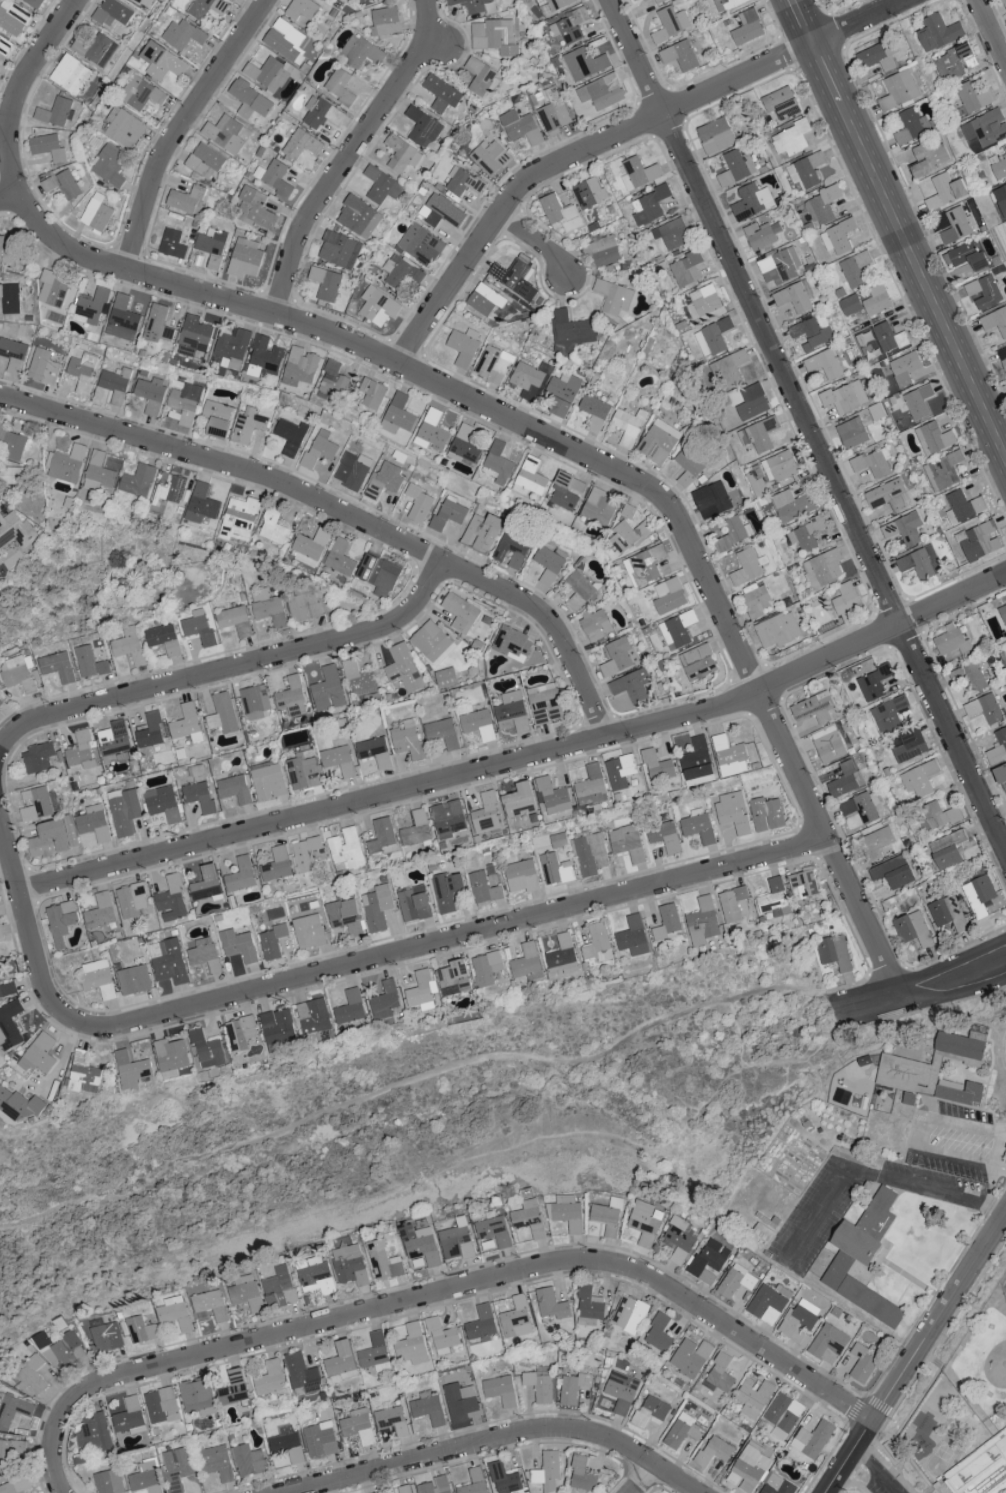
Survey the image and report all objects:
building: (361, 0)
building: (634, 0)
building: (832, 0)
building: (659, 1)
building: (143, 2)
building: (1004, 2)
building: (34, 3)
building: (727, 4)
building: (476, 5)
building: (554, 5)
building: (207, 7)
building: (301, 9)
building: (112, 12)
building: (13, 17)
building: (385, 20)
building: (670, 23)
building: (568, 27)
building: (747, 27)
building: (938, 32)
building: (182, 34)
road: (990, 34)
building: (495, 36)
building: (285, 40)
building: (77, 45)
building: (4, 46)
road: (434, 47)
building: (100, 50)
building: (360, 51)
building: (680, 55)
building: (878, 56)
building: (162, 61)
building: (953, 61)
building: (584, 62)
building: (269, 73)
building: (70, 74)
building: (481, 76)
building: (339, 85)
road: (19, 89)
building: (899, 90)
building: (601, 91)
building: (141, 93)
building: (441, 93)
building: (973, 96)
building: (250, 99)
building: (781, 103)
building: (56, 112)
building: (317, 112)
building: (913, 125)
building: (124, 127)
road: (180, 127)
building: (422, 127)
building: (520, 127)
building: (985, 127)
building: (224, 133)
building: (715, 135)
building: (794, 137)
road: (615, 138)
building: (301, 144)
building: (47, 146)
building: (402, 154)
road: (349, 155)
building: (489, 157)
building: (930, 157)
building: (205, 161)
building: (998, 163)
building: (109, 165)
building: (736, 167)
building: (806, 171)
building: (639, 173)
building: (276, 177)
building: (462, 182)
building: (62, 183)
building: (381, 185)
building: (945, 191)
building: (589, 192)
road: (9, 198)
building: (1001, 198)
building: (186, 199)
building: (751, 201)
building: (649, 204)
building: (822, 205)
building: (256, 208)
building: (441, 211)
building: (96, 212)
building: (560, 213)
building: (358, 217)
building: (958, 225)
road: (899, 229)
building: (672, 233)
building: (761, 234)
building: (837, 238)
road: (535, 242)
building: (419, 243)
building: (173, 244)
building: (212, 246)
building: (339, 249)
building: (6, 250)
building: (602, 250)
building: (969, 256)
building: (244, 258)
building: (780, 266)
building: (685, 268)
building: (855, 268)
building: (402, 273)
building: (514, 274)
building: (326, 283)
building: (53, 288)
building: (984, 291)
building: (612, 296)
building: (11, 297)
building: (794, 298)
building: (485, 299)
building: (876, 300)
building: (703, 301)
building: (850, 304)
building: (378, 305)
building: (91, 307)
building: (122, 318)
building: (995, 320)
building: (158, 321)
building: (571, 331)
building: (809, 331)
building: (194, 336)
building: (712, 337)
building: (884, 340)
building: (463, 346)
building: (232, 348)
building: (13, 354)
building: (264, 356)
building: (494, 363)
building: (1003, 363)
building: (824, 364)
building: (43, 366)
building: (299, 366)
building: (907, 368)
building: (729, 369)
building: (82, 371)
building: (333, 379)
building: (527, 380)
building: (115, 383)
building: (565, 385)
building: (150, 393)
building: (372, 393)
building: (845, 397)
building: (918, 401)
building: (183, 402)
building: (752, 402)
building: (560, 408)
building: (876, 410)
building: (594, 411)
building: (398, 414)
building: (217, 418)
building: (248, 425)
building: (628, 425)
road: (804, 427)
building: (432, 431)
building: (852, 432)
building: (759, 434)
building: (290, 436)
building: (934, 437)
building: (658, 441)
building: (11, 443)
building: (465, 445)
building: (319, 448)
road: (589, 460)
building: (112, 462)
building: (873, 462)
building: (66, 463)
building: (498, 463)
building: (689, 465)
building: (780, 465)
building: (944, 469)
building: (352, 470)
building: (12, 474)
building: (529, 477)
building: (385, 479)
building: (139, 480)
building: (172, 489)
building: (566, 492)
building: (888, 495)
building: (716, 499)
building: (203, 500)
building: (418, 503)
building: (792, 505)
building: (963, 506)
building: (599, 509)
building: (448, 513)
road: (341, 515)
building: (239, 519)
building: (272, 526)
building: (16, 529)
building: (904, 529)
building: (481, 531)
building: (734, 533)
building: (806, 534)
building: (630, 535)
building: (979, 540)
building: (310, 547)
building: (510, 551)
building: (339, 557)
building: (0, 558)
building: (548, 559)
building: (920, 562)
building: (644, 565)
building: (748, 566)
building: (823, 568)
building: (378, 574)
building: (579, 591)
building: (669, 595)
building: (756, 599)
building: (845, 599)
building: (304, 604)
building: (268, 607)
building: (460, 612)
building: (1003, 612)
building: (234, 620)
building: (595, 624)
building: (199, 628)
building: (676, 629)
building: (778, 629)
building: (164, 639)
building: (952, 641)
building: (432, 642)
building: (512, 643)
building: (129, 645)
building: (618, 656)
building: (90, 662)
road: (253, 662)
building: (698, 662)
building: (58, 666)
building: (403, 668)
building: (20, 672)
building: (445, 677)
building: (974, 677)
building: (358, 678)
building: (874, 682)
building: (631, 685)
building: (327, 689)
building: (254, 699)
building: (291, 699)
building: (1, 701)
building: (545, 703)
building: (813, 707)
building: (984, 709)
building: (512, 712)
building: (222, 713)
building: (891, 714)
building: (186, 723)
building: (478, 724)
building: (150, 731)
road: (16, 732)
building: (443, 732)
building: (114, 740)
building: (408, 740)
building: (833, 740)
building: (909, 745)
building: (998, 747)
building: (80, 750)
building: (374, 752)
building: (730, 756)
building: (37, 757)
building: (697, 759)
building: (338, 760)
road: (523, 760)
building: (658, 766)
building: (620, 771)
building: (198, 772)
building: (303, 772)
building: (1001, 776)
building: (920, 778)
building: (845, 779)
building: (268, 781)
building: (591, 786)
building: (234, 789)
building: (200, 797)
building: (519, 801)
building: (162, 803)
building: (39, 804)
building: (861, 806)
building: (124, 810)
building: (733, 811)
road: (997, 813)
building: (486, 814)
building: (766, 814)
building: (938, 816)
building: (448, 819)
building: (94, 822)
building: (697, 825)
building: (416, 828)
building: (70, 830)
building: (381, 835)
building: (664, 836)
building: (48, 839)
building: (627, 842)
building: (876, 842)
building: (346, 849)
building: (947, 849)
building: (590, 852)
building: (306, 853)
building: (276, 865)
building: (555, 869)
building: (893, 872)
building: (240, 875)
building: (521, 876)
building: (803, 882)
building: (206, 884)
building: (485, 885)
building: (446, 891)
building: (979, 895)
building: (774, 898)
building: (131, 900)
building: (171, 900)
building: (414, 903)
building: (733, 903)
building: (377, 907)
building: (100, 911)
building: (948, 912)
building: (345, 915)
building: (702, 920)
building: (61, 921)
building: (913, 928)
building: (308, 932)
building: (0, 933)
road: (32, 935)
road: (462, 936)
building: (633, 936)
building: (272, 941)
building: (597, 943)
building: (238, 945)
building: (834, 951)
building: (204, 954)
building: (561, 954)
building: (168, 961)
building: (528, 961)
building: (486, 967)
building: (453, 977)
building: (98, 978)
building: (133, 979)
building: (7, 989)
building: (421, 990)
road: (927, 994)
building: (384, 1000)
building: (350, 1007)
building: (312, 1015)
building: (10, 1025)
building: (276, 1027)
building: (240, 1032)
building: (962, 1047)
building: (207, 1049)
building: (39, 1053)
building: (170, 1056)
building: (130, 1069)
building: (83, 1073)
building: (907, 1073)
road: (399, 1082)
building: (962, 1092)
building: (18, 1103)
road: (921, 1130)
parking lot: (955, 1143)
road: (999, 1152)
road: (999, 1168)
road: (872, 1176)
parking lot: (936, 1180)
building: (567, 1212)
building: (878, 1213)
building: (608, 1215)
parking lot: (815, 1215)
building: (529, 1218)
building: (646, 1222)
building: (494, 1229)
building: (762, 1231)
building: (679, 1238)
building: (456, 1240)
building: (855, 1242)
building: (384, 1260)
building: (708, 1261)
building: (350, 1264)
building: (735, 1280)
building: (859, 1291)
building: (247, 1295)
road: (439, 1297)
building: (768, 1302)
building: (551, 1303)
building: (589, 1303)
building: (210, 1306)
building: (176, 1312)
building: (629, 1314)
building: (516, 1318)
building: (799, 1321)
building: (482, 1324)
building: (142, 1329)
building: (659, 1333)
building: (108, 1336)
building: (442, 1336)
building: (45, 1339)
building: (827, 1343)
building: (412, 1344)
building: (70, 1349)
building: (375, 1353)
road: (915, 1355)
building: (691, 1357)
building: (341, 1361)
building: (862, 1362)
building: (720, 1372)
building: (301, 1373)
building: (34, 1375)
building: (269, 1377)
building: (540, 1383)
building: (233, 1387)
building: (574, 1387)
building: (500, 1389)
building: (621, 1391)
building: (196, 1394)
building: (753, 1397)
building: (459, 1400)
building: (161, 1405)
building: (428, 1408)
building: (14, 1409)
building: (650, 1411)
building: (129, 1414)
building: (783, 1415)
building: (391, 1419)
building: (358, 1426)
building: (682, 1430)
building: (94, 1432)
building: (814, 1438)
building: (319, 1439)
road: (499, 1439)
building: (287, 1446)
building: (713, 1451)
building: (9, 1453)
building: (248, 1460)
building: (217, 1462)
building: (750, 1465)
building: (177, 1467)
building: (981, 1470)
building: (547, 1471)
road: (874, 1471)
building: (582, 1475)
building: (146, 1477)
building: (504, 1478)
road: (643, 1480)
building: (108, 1481)
building: (474, 1482)
building: (436, 1485)
building: (777, 1485)
building: (16, 1486)
parking lot: (871, 1487)
building: (404, 1488)
building: (374, 1492)

